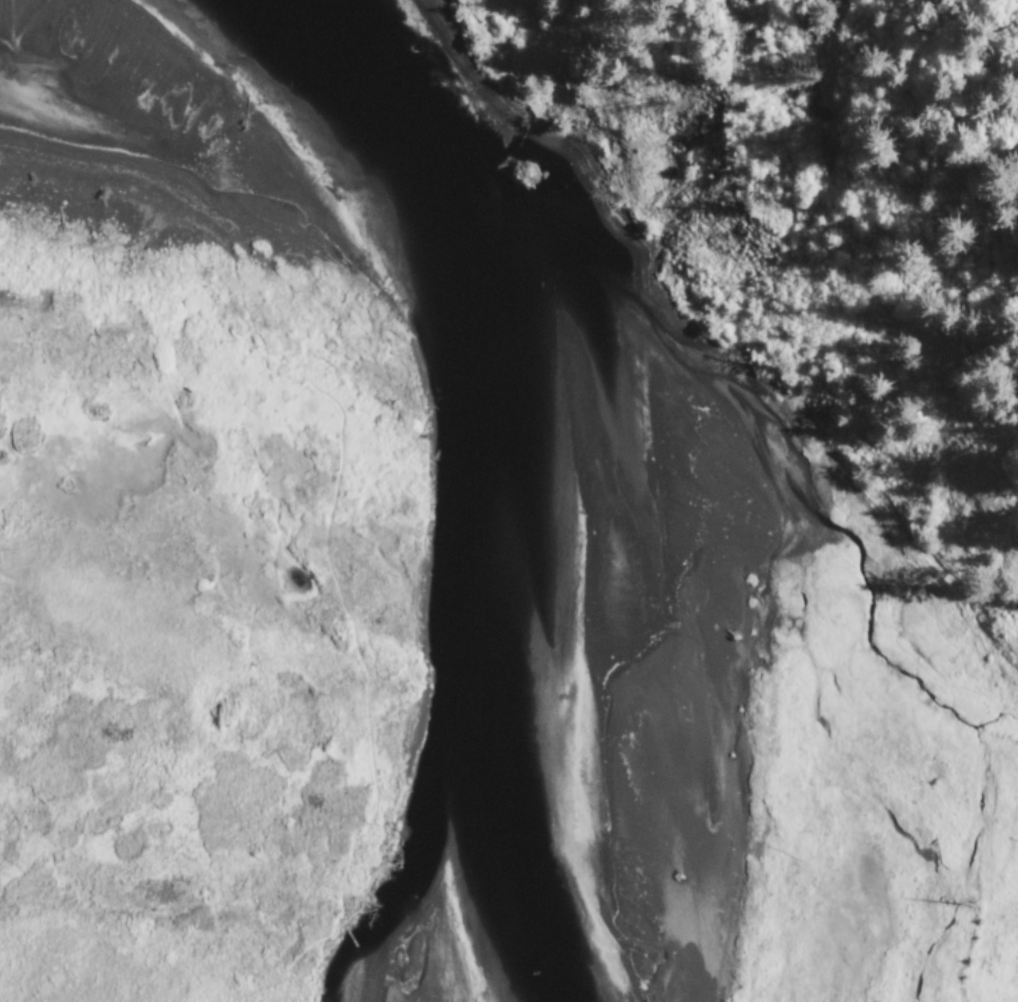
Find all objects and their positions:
river: (555, 447)

